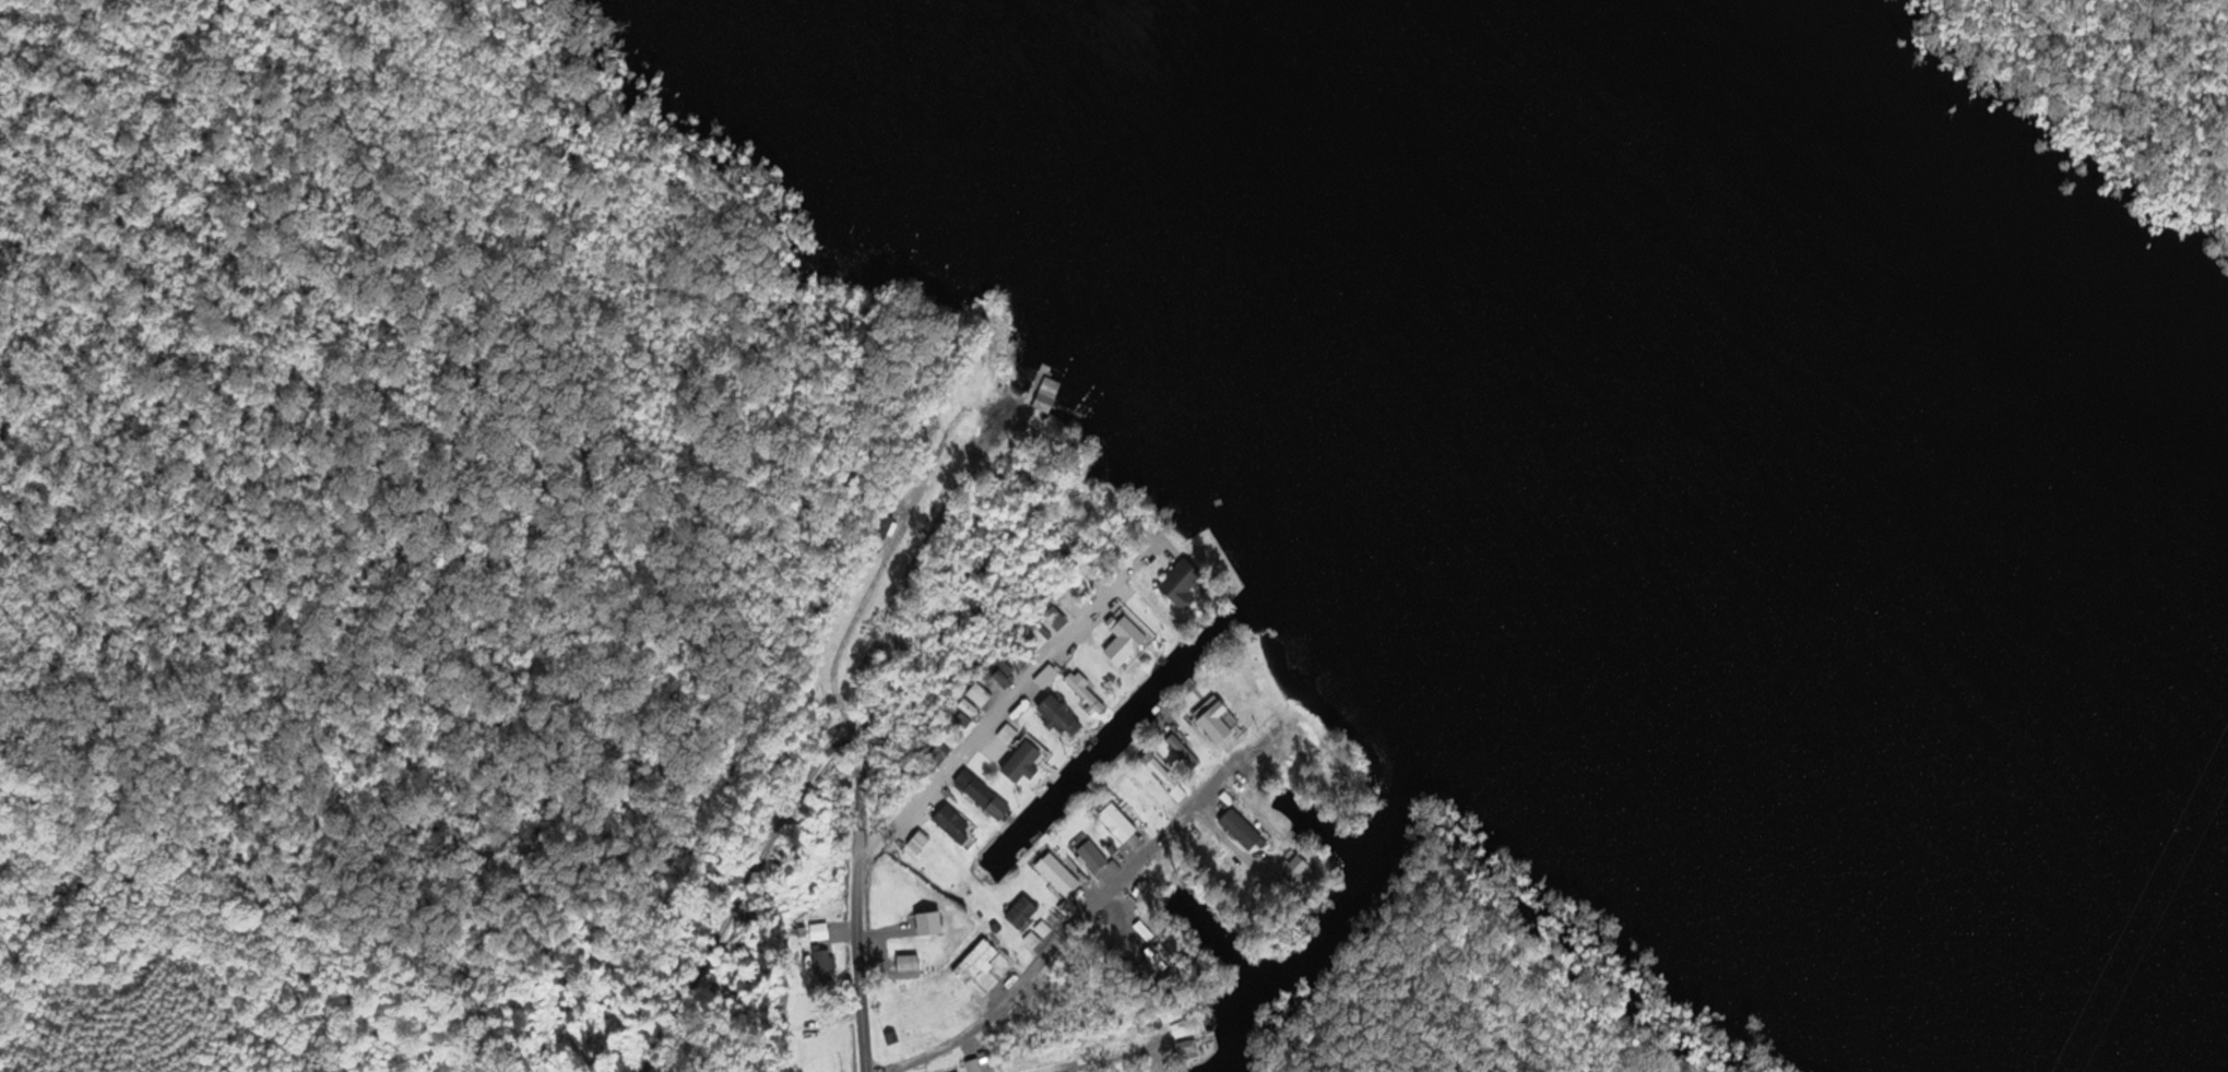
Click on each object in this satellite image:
park: (2130, 73)
river: (1522, 219)
building: (1048, 395)
building: (1186, 585)
river: (1962, 629)
building: (1133, 634)
building: (1035, 636)
building: (1089, 695)
building: (1065, 719)
building: (1220, 722)
building: (1008, 736)
road: (975, 737)
building: (1186, 754)
building: (1029, 762)
building: (1168, 779)
building: (981, 794)
building: (1122, 824)
building: (959, 826)
building: (1244, 830)
building: (1094, 856)
building: (1295, 868)
building: (1062, 877)
road: (855, 890)
building: (905, 903)
building: (1024, 913)
road: (1075, 922)
building: (820, 932)
building: (976, 962)
building: (821, 963)
building: (908, 963)
building: (1184, 1028)
building: (1186, 1050)
road: (1112, 1059)
building: (975, 1065)

